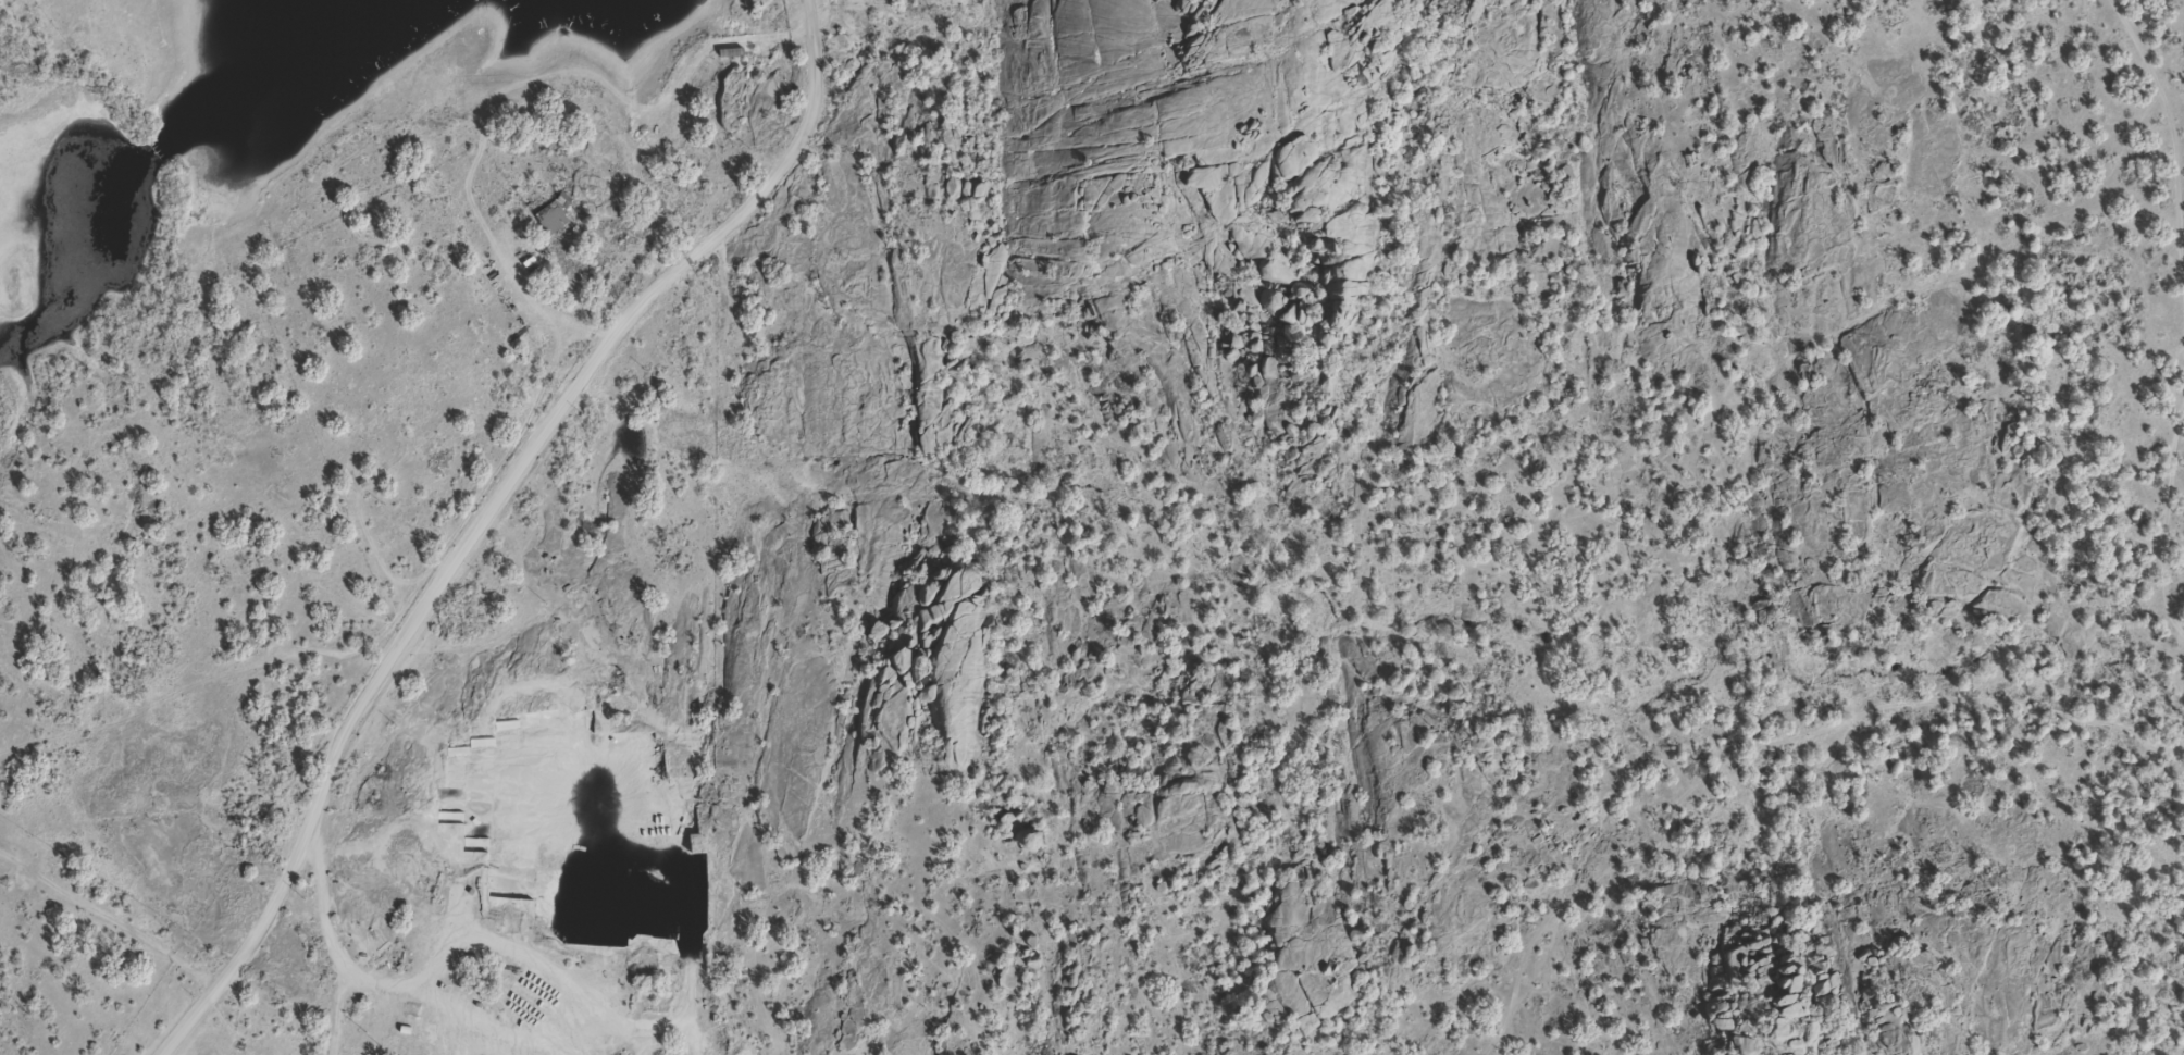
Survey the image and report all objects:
building: (555, 215)
road: (487, 514)
building: (508, 794)
quarry: (561, 902)
building: (1032, 963)
building: (1902, 1041)

